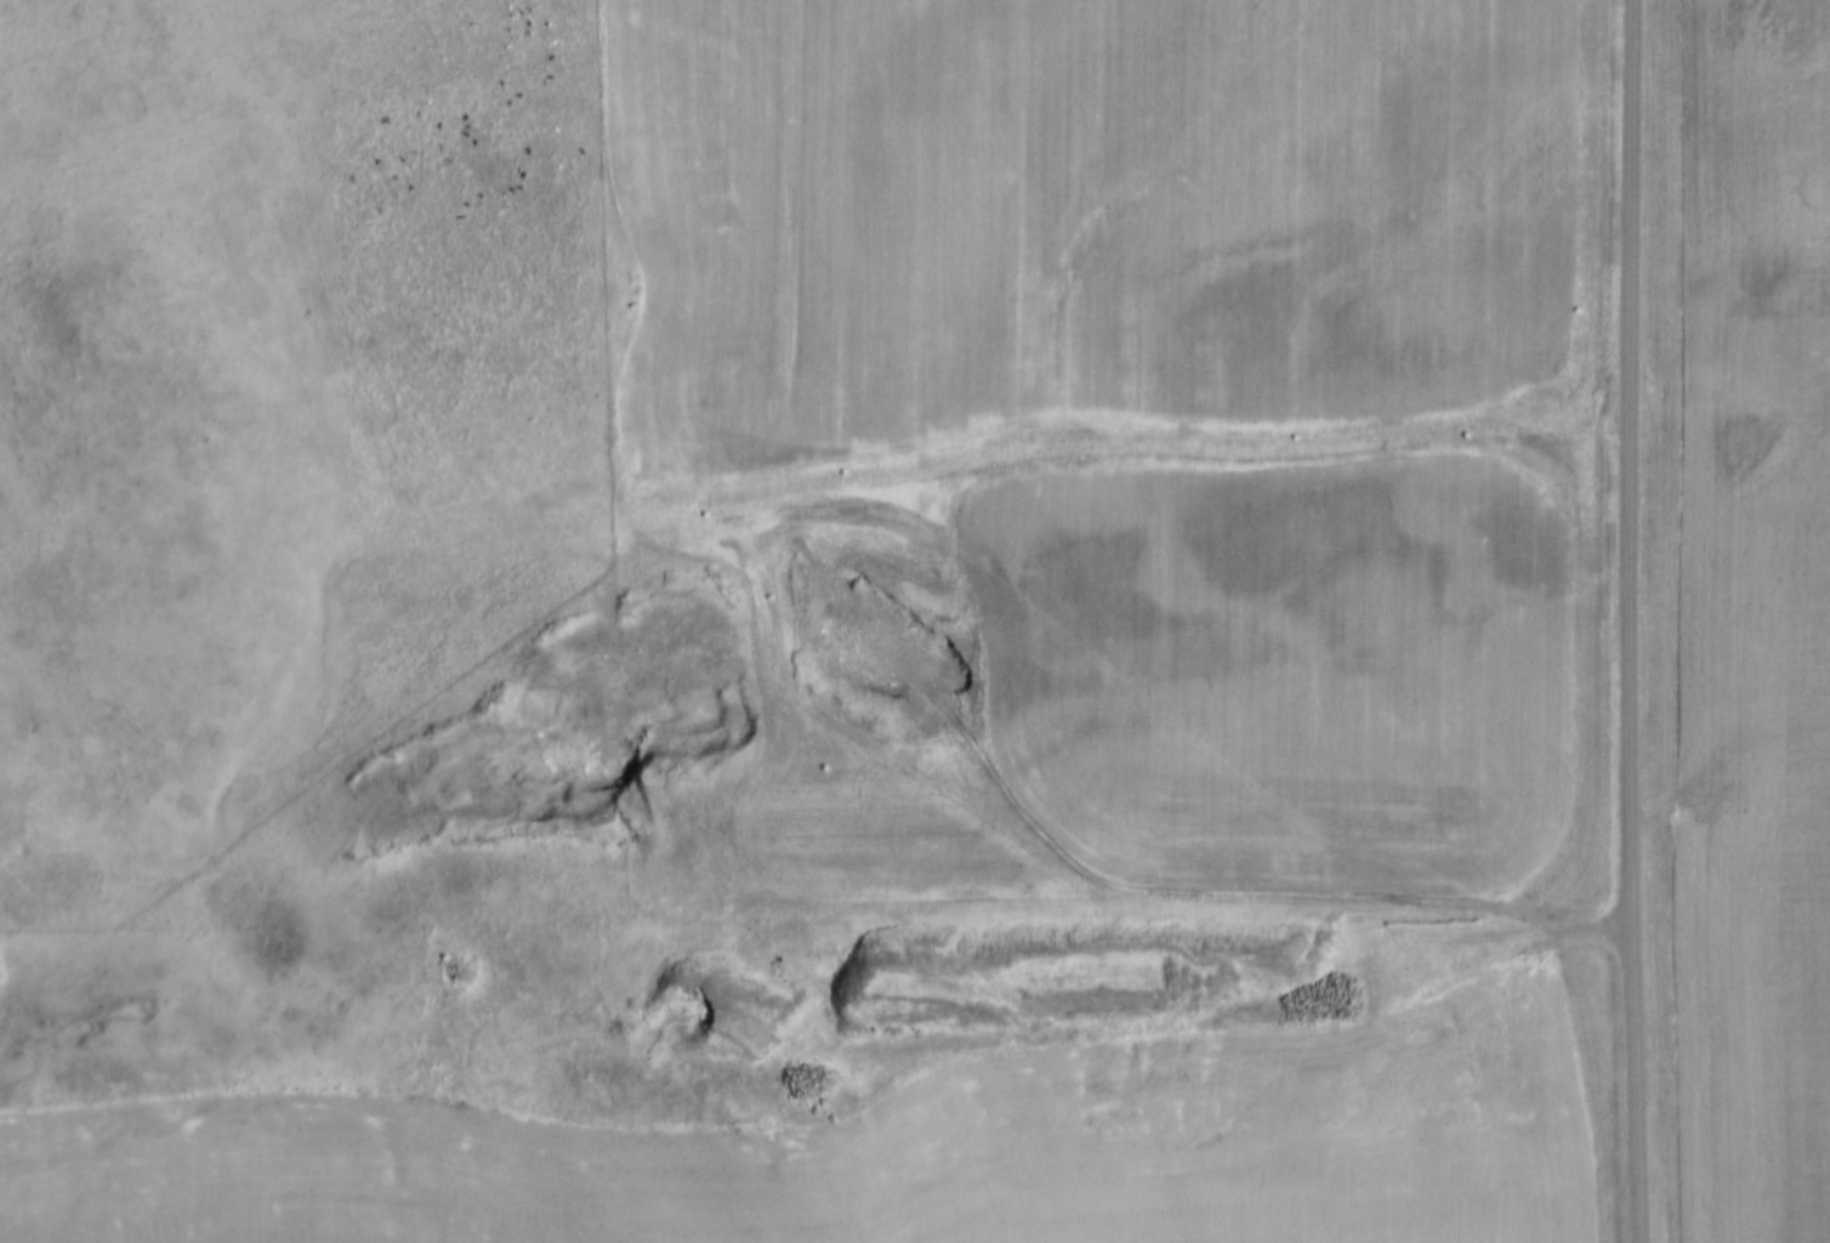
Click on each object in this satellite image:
road: (1626, 620)
quarry: (888, 643)
quarry: (568, 742)
road: (950, 784)
road: (981, 910)
quarry: (1087, 1028)
road: (1129, 1029)

